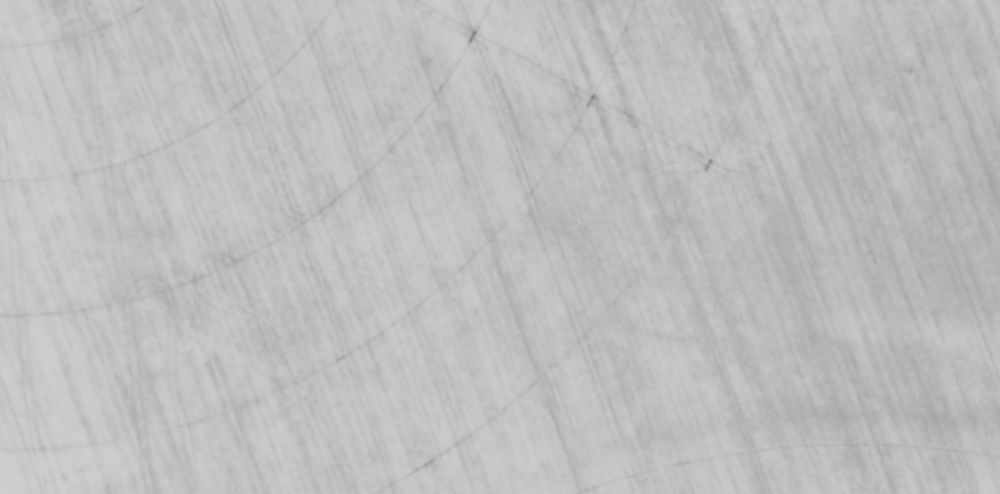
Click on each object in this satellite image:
road: (32, 278)

